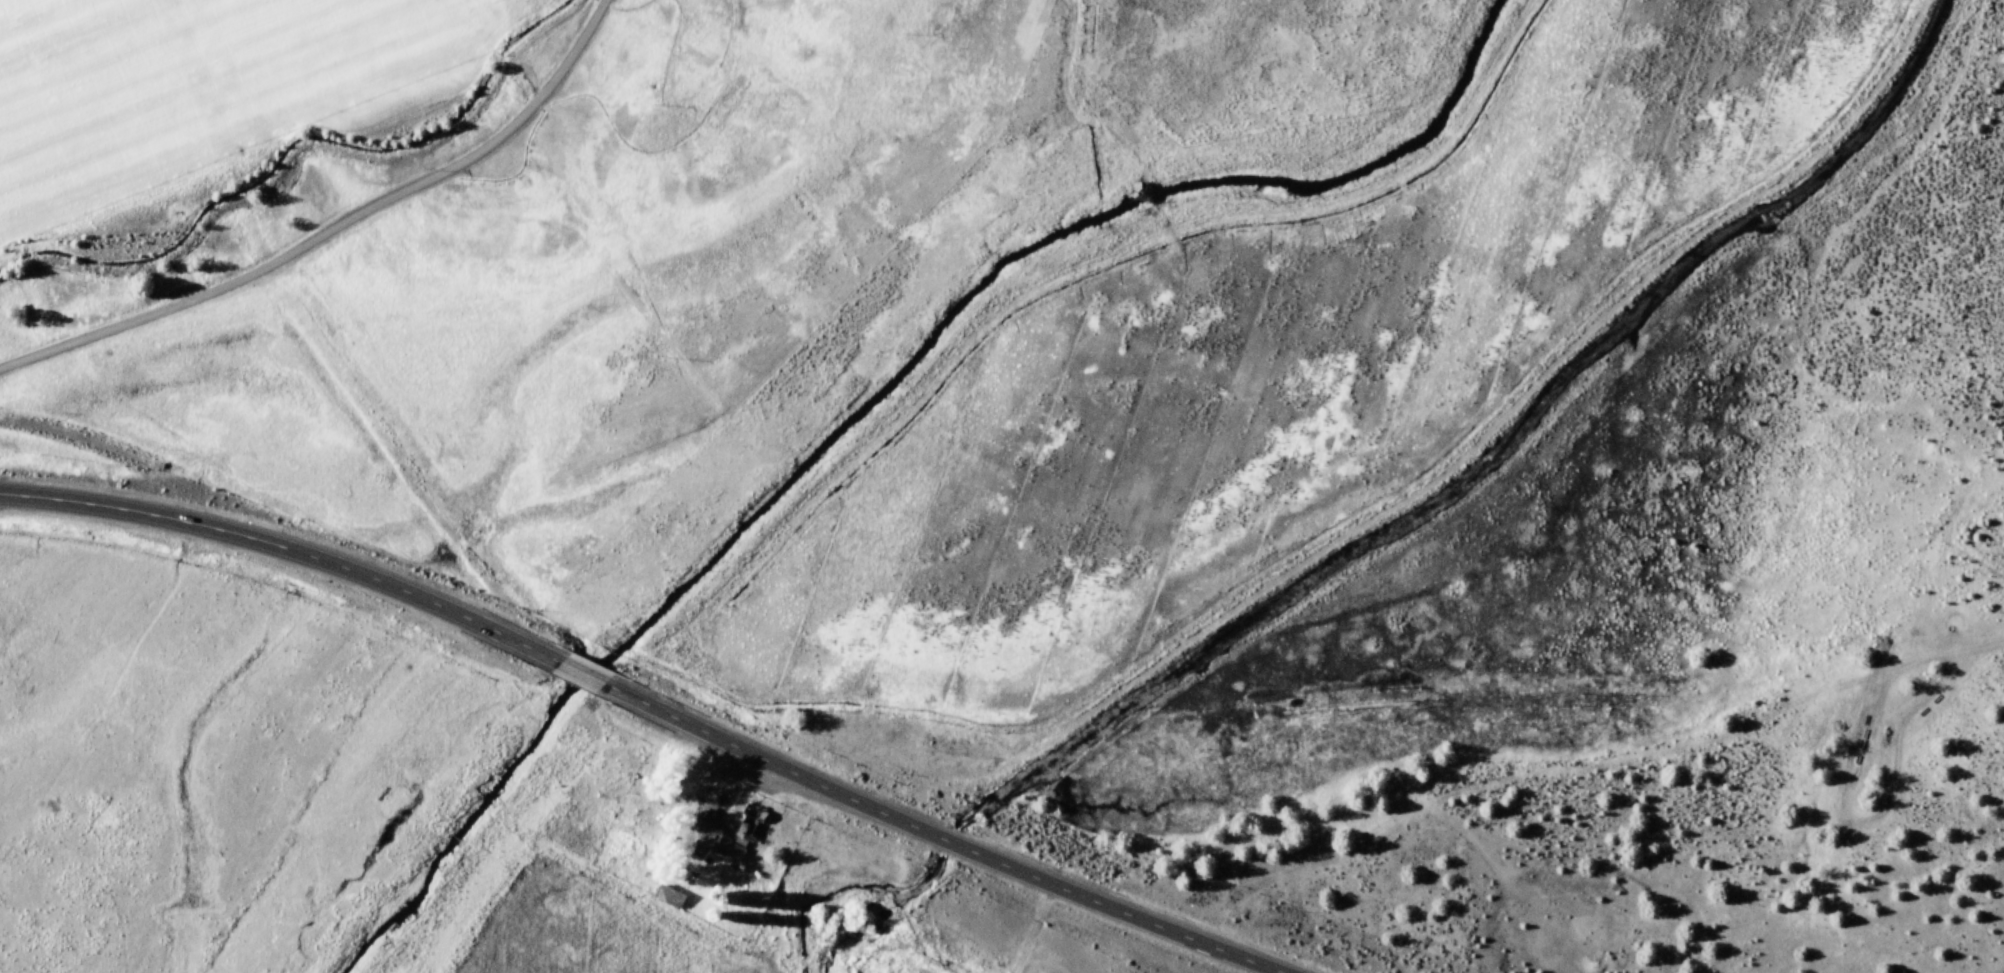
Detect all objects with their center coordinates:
road: (339, 236)
road: (280, 550)
road: (581, 675)
building: (748, 829)
building: (707, 837)
road: (946, 843)
building: (670, 897)

